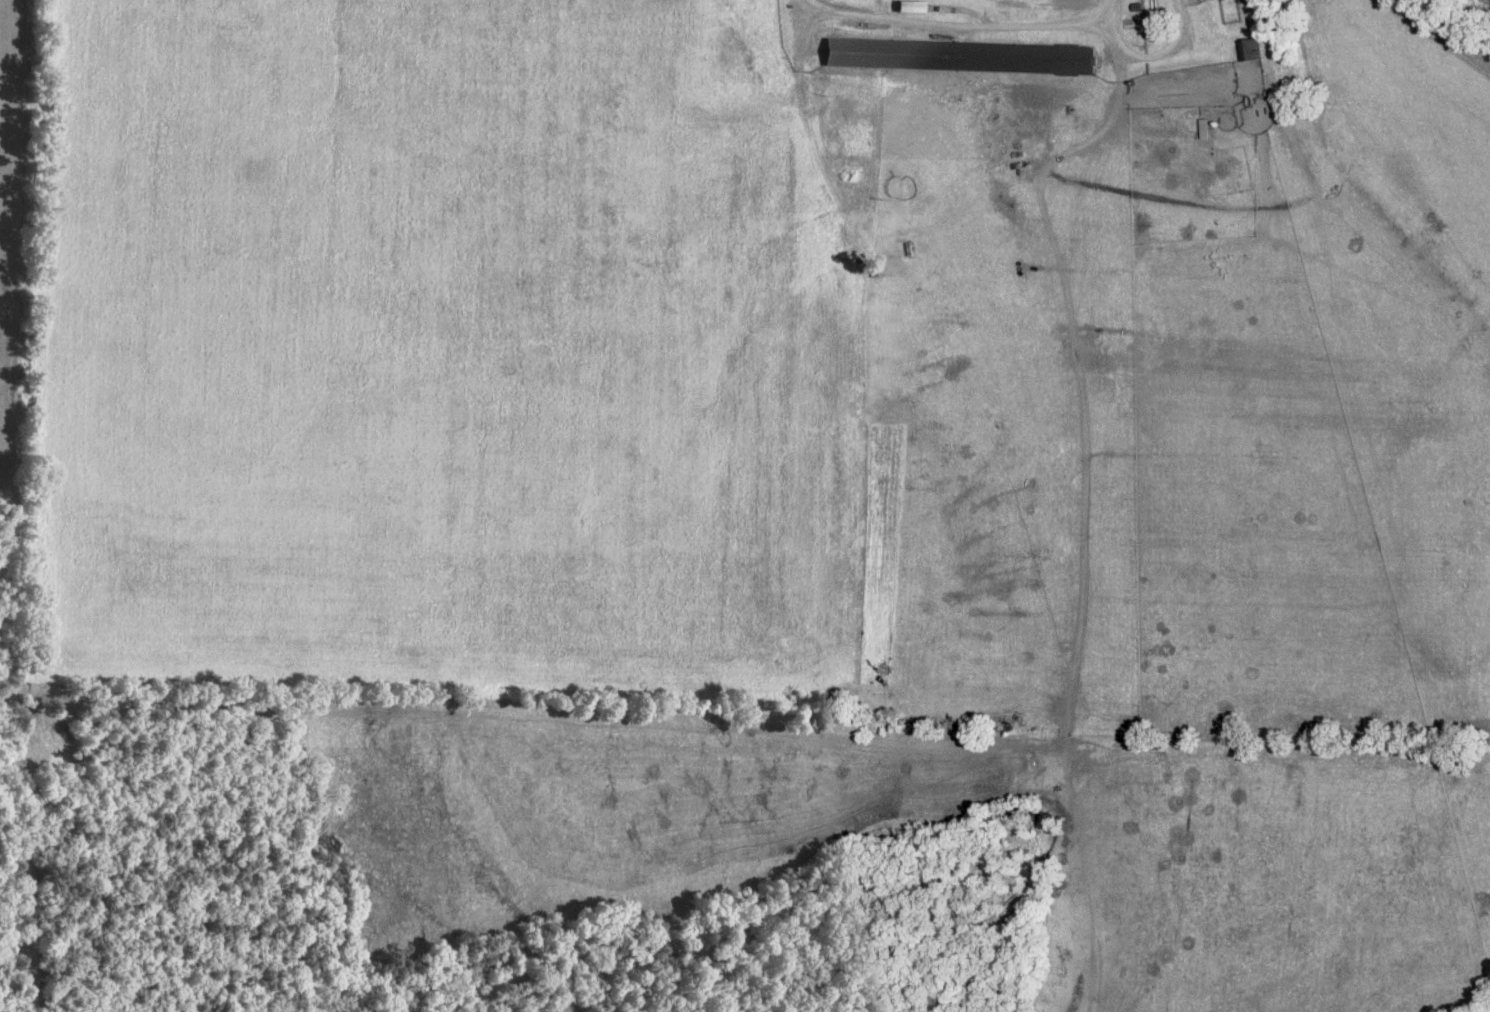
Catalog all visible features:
building: (1253, 49)
building: (957, 56)
road: (1144, 56)
building: (1204, 129)

